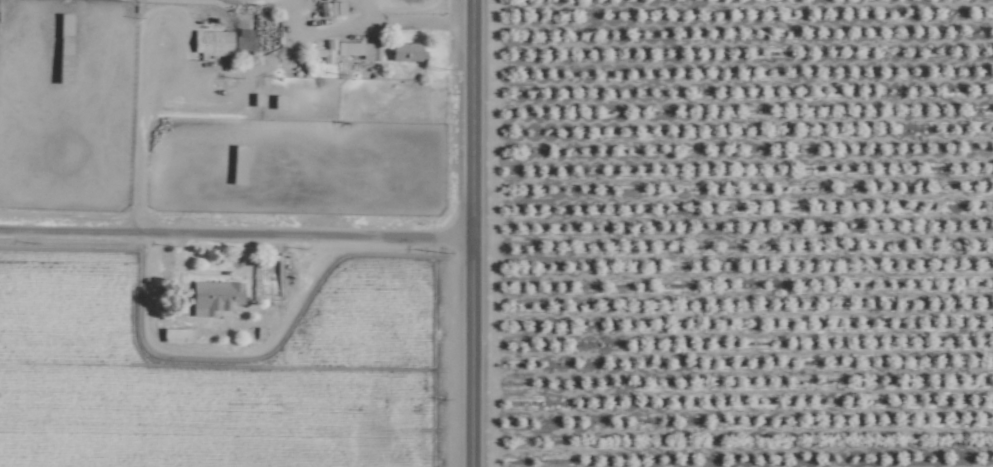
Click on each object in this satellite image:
building: (209, 42)
building: (345, 50)
building: (402, 51)
road: (241, 69)
road: (470, 233)
road: (235, 236)
building: (211, 296)
building: (172, 335)

